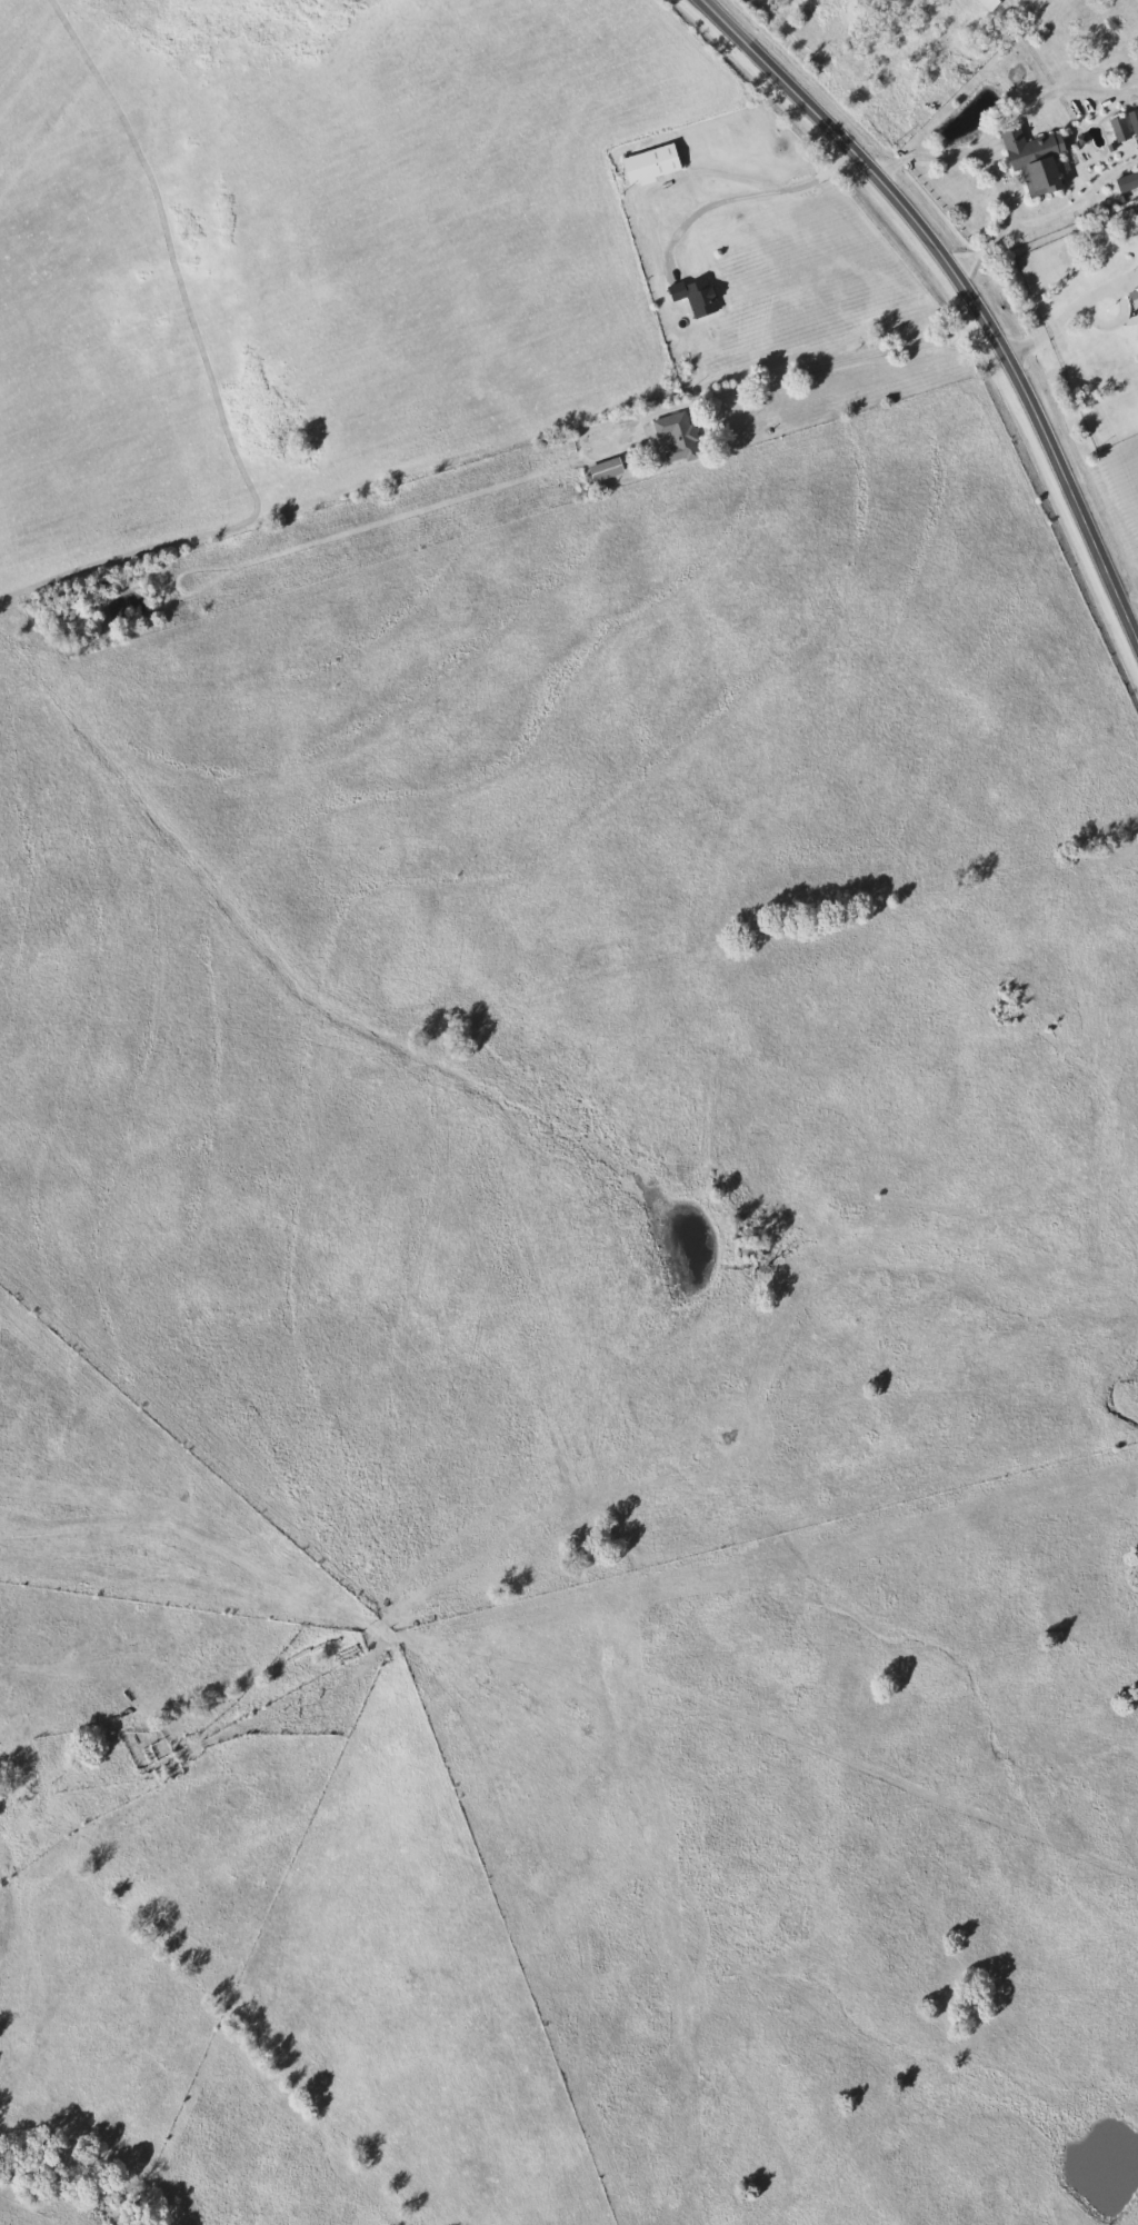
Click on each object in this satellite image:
building: (985, 4)
building: (1117, 128)
building: (1030, 159)
building: (648, 164)
road: (992, 170)
road: (731, 181)
road: (748, 197)
road: (965, 291)
road: (1124, 298)
road: (1051, 330)
road: (807, 368)
building: (675, 436)
building: (602, 468)
road: (1131, 607)

